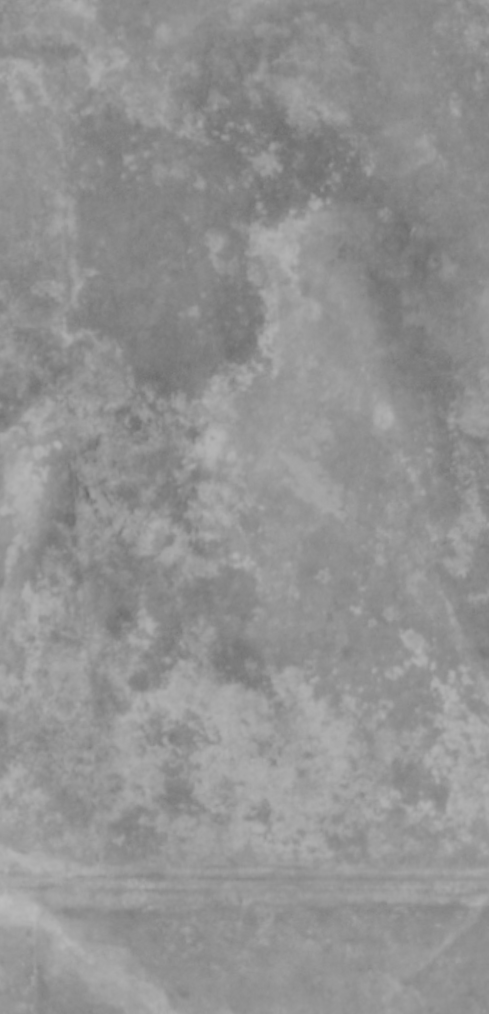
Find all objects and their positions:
road: (244, 885)

